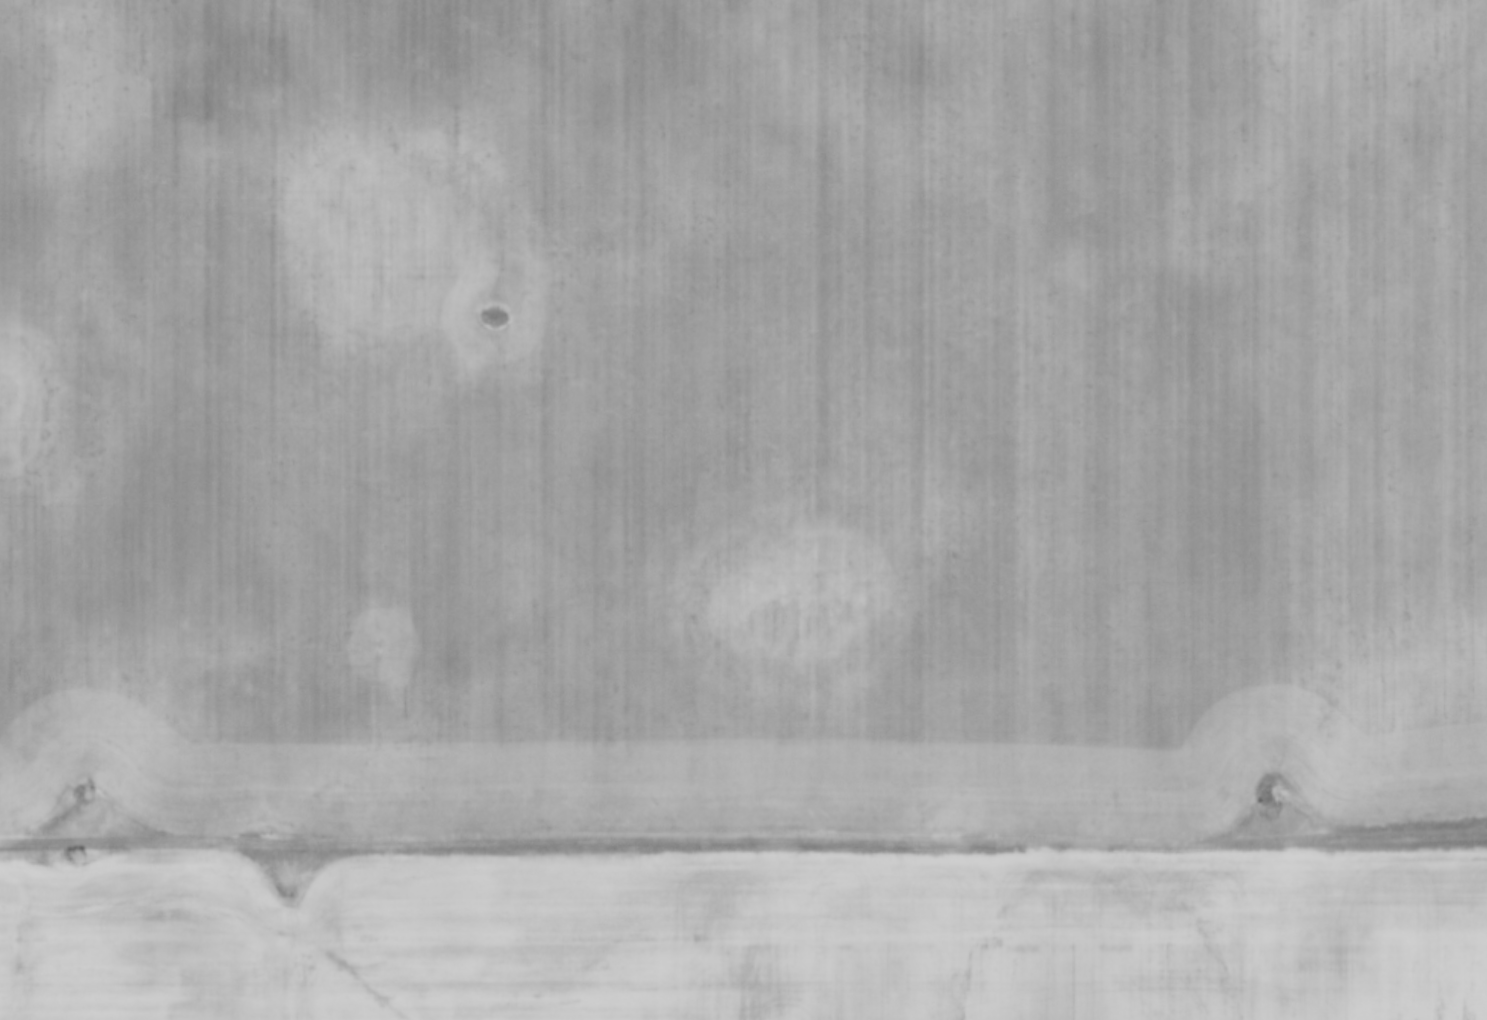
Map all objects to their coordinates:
road: (742, 832)

